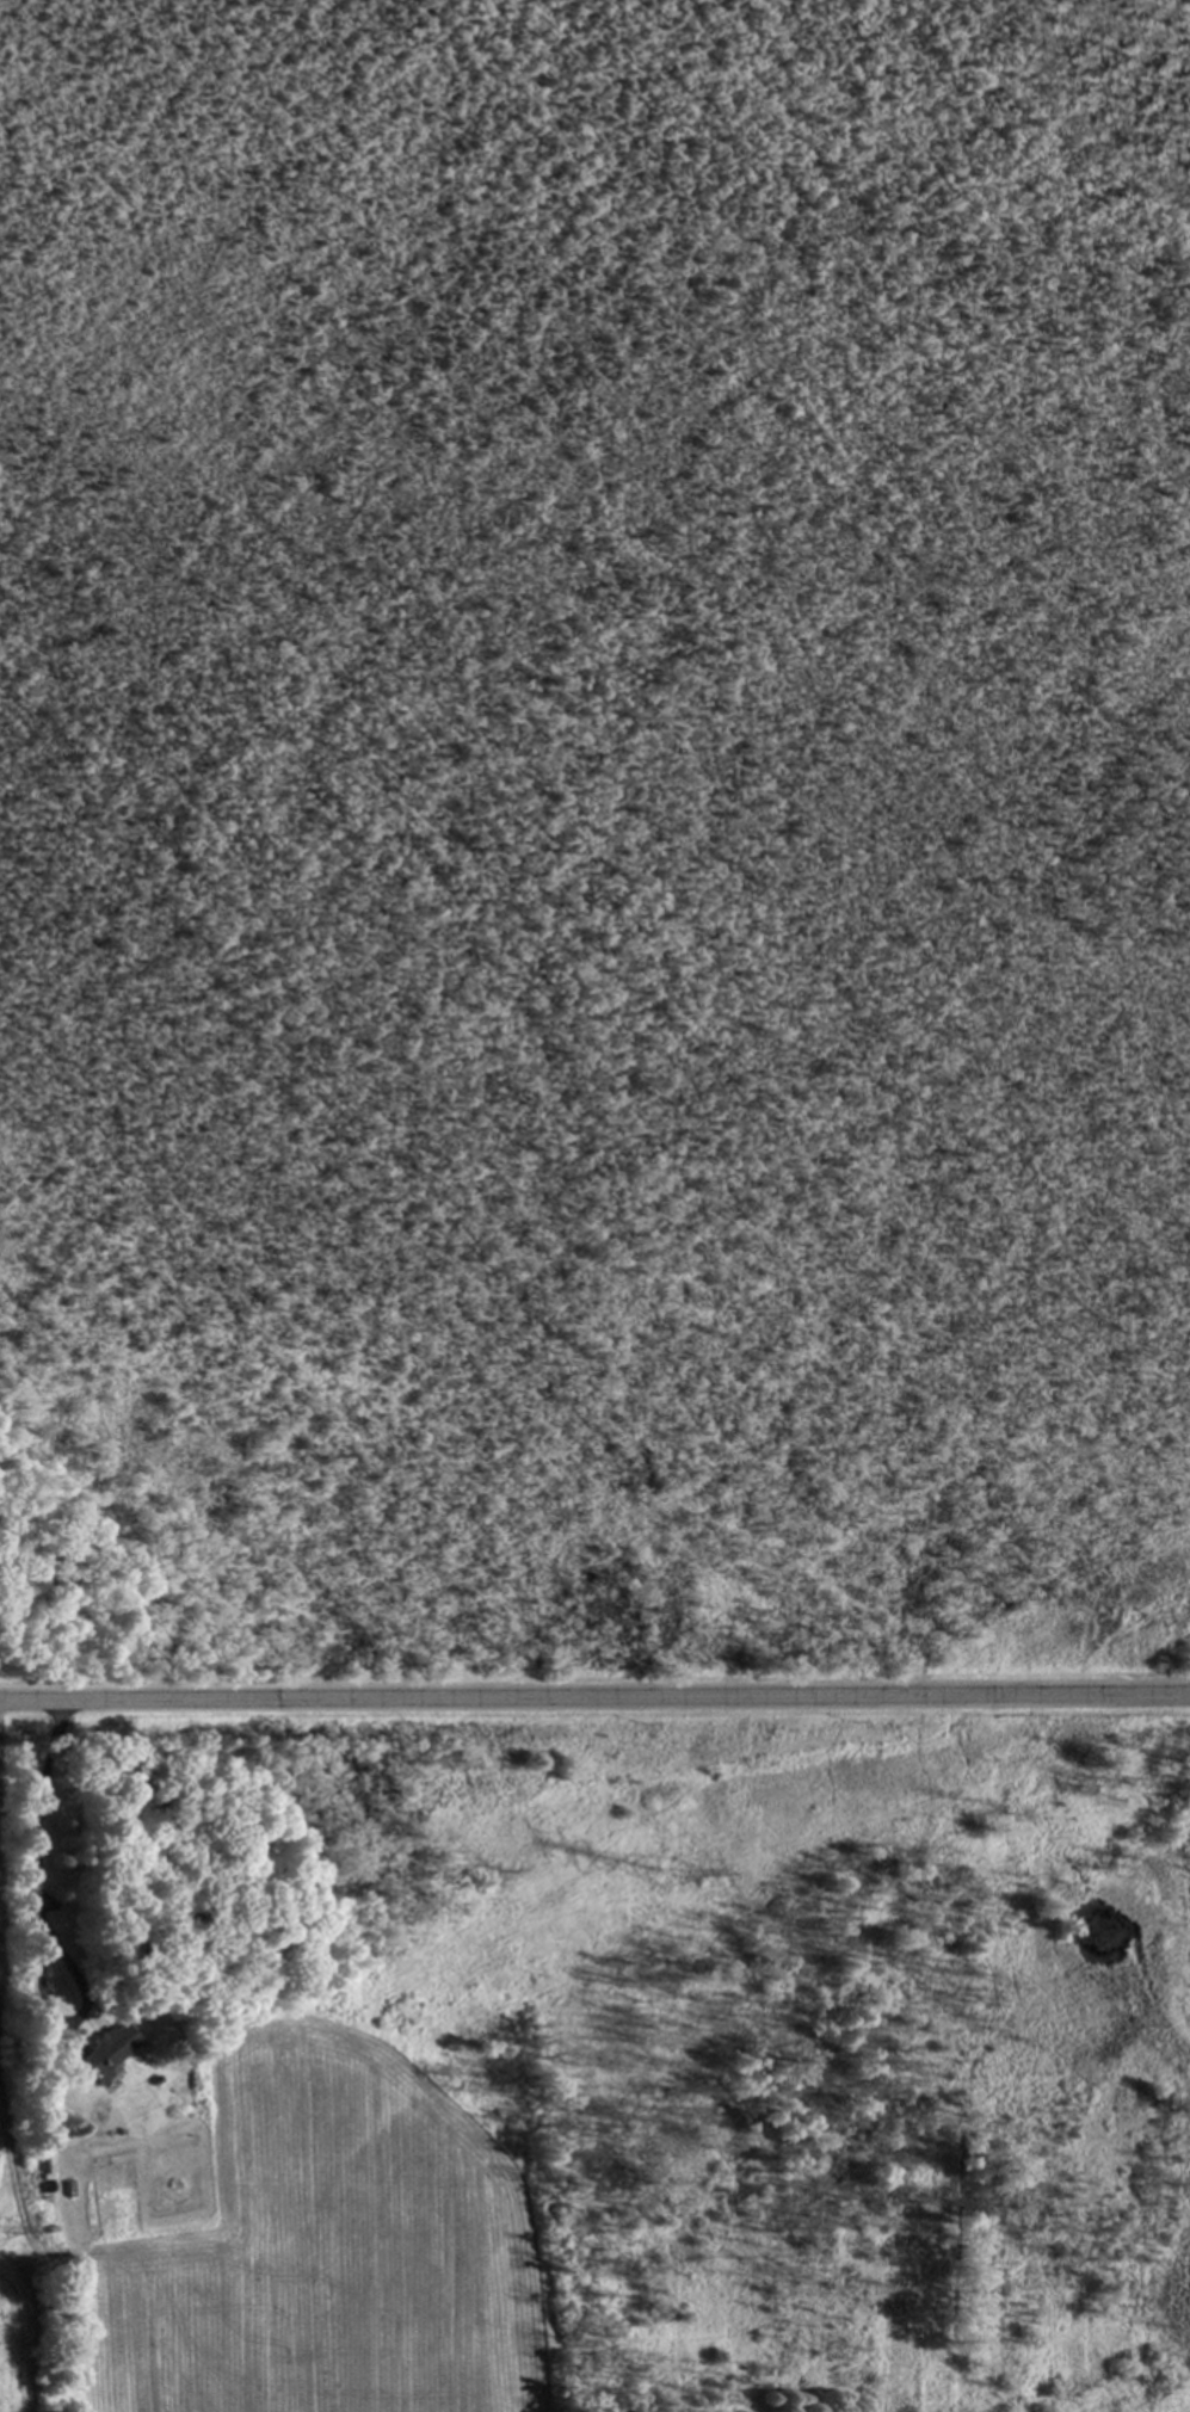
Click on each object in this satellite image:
road: (594, 1692)
power tower: (667, 1864)
road: (41, 1930)
building: (109, 2052)
building: (45, 2158)
power tower: (0, 2229)

